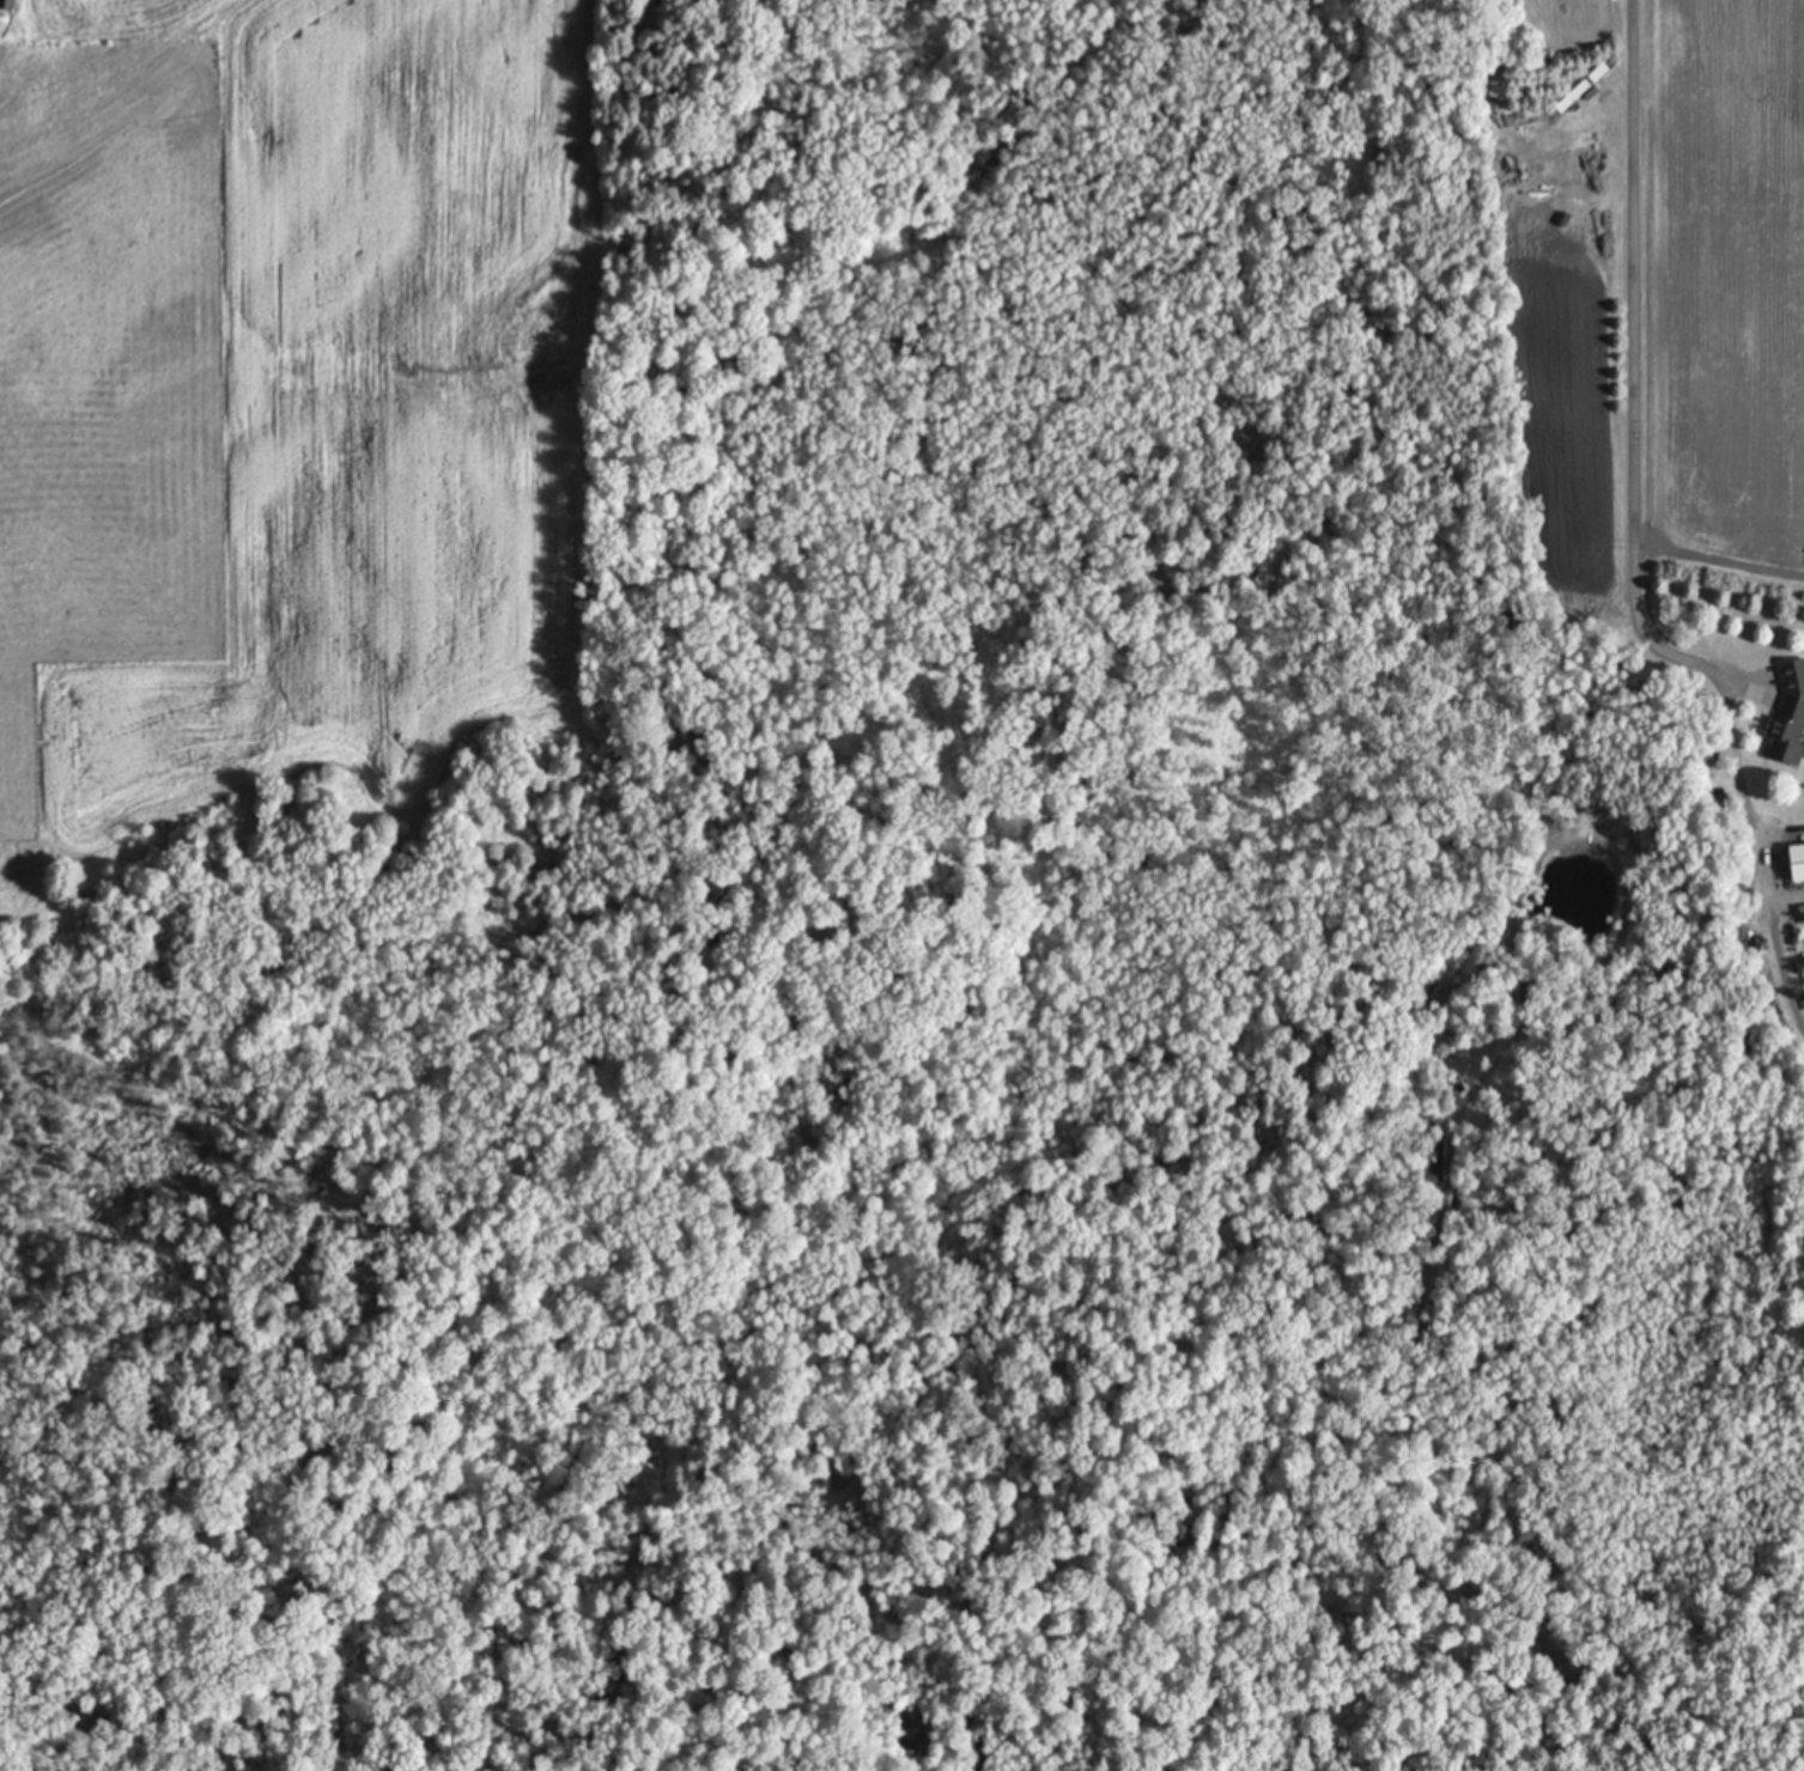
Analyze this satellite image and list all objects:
building: (8, 4)
building: (1600, 69)
building: (1573, 93)
road: (1634, 467)
building: (1790, 714)
building: (1798, 859)
building: (1736, 882)
building: (1742, 925)

